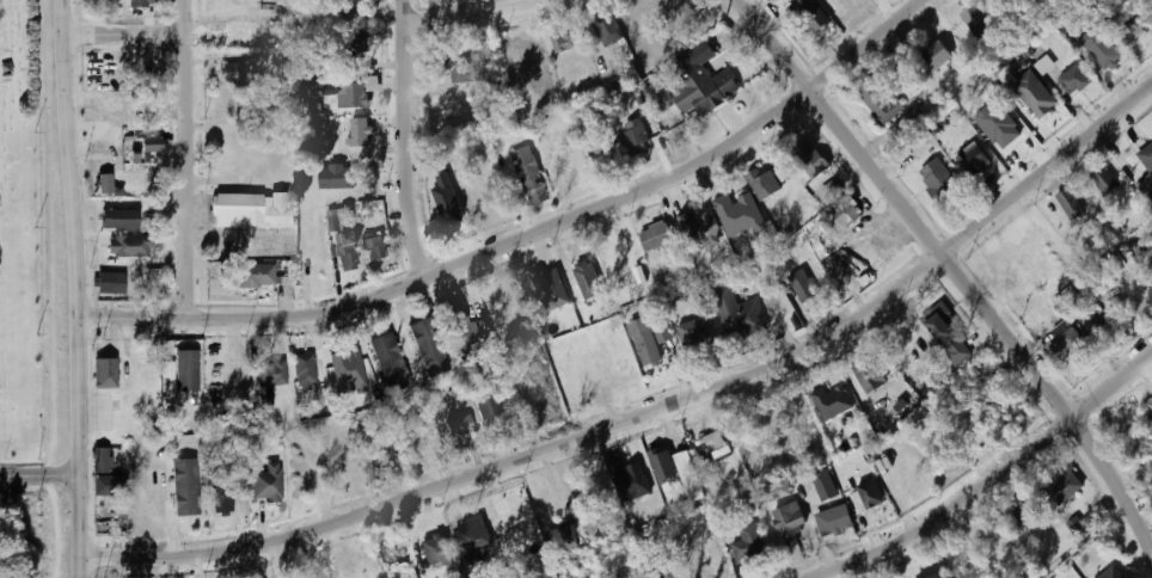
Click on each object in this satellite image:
building: (141, 4)
building: (351, 6)
building: (811, 13)
road: (478, 17)
building: (976, 23)
building: (602, 29)
building: (1127, 30)
road: (124, 35)
building: (560, 42)
road: (868, 48)
building: (1099, 49)
building: (935, 54)
building: (1044, 64)
building: (1019, 68)
building: (459, 69)
building: (232, 73)
building: (1073, 80)
building: (697, 82)
building: (1035, 94)
building: (351, 96)
building: (877, 102)
building: (914, 115)
building: (998, 124)
building: (360, 133)
building: (636, 136)
road: (408, 140)
building: (151, 144)
building: (1146, 158)
road: (185, 159)
building: (972, 159)
building: (809, 160)
building: (600, 162)
building: (283, 173)
building: (529, 174)
building: (337, 176)
building: (937, 179)
building: (1103, 180)
building: (104, 184)
building: (133, 184)
building: (764, 184)
building: (1145, 189)
building: (831, 191)
building: (1070, 204)
building: (253, 209)
building: (447, 209)
building: (736, 214)
building: (841, 215)
building: (120, 219)
building: (339, 220)
building: (699, 229)
road: (75, 234)
park: (19, 238)
building: (658, 239)
building: (131, 245)
building: (228, 250)
building: (347, 250)
building: (103, 251)
building: (375, 251)
building: (858, 256)
road: (456, 265)
building: (1150, 268)
road: (949, 271)
building: (257, 275)
building: (674, 276)
building: (587, 279)
building: (109, 283)
building: (799, 283)
building: (549, 290)
building: (739, 314)
building: (456, 324)
building: (692, 333)
building: (949, 336)
building: (644, 343)
building: (1074, 345)
building: (428, 346)
building: (388, 362)
building: (103, 368)
building: (304, 369)
building: (186, 370)
building: (868, 375)
building: (583, 377)
building: (268, 381)
building: (534, 396)
building: (485, 401)
building: (832, 402)
road: (656, 411)
building: (102, 412)
building: (459, 425)
building: (712, 447)
building: (662, 465)
building: (103, 471)
building: (339, 471)
road: (37, 472)
building: (690, 476)
building: (629, 480)
road: (997, 481)
building: (266, 482)
building: (823, 485)
building: (1064, 486)
building: (184, 487)
building: (776, 491)
building: (869, 492)
building: (221, 500)
building: (125, 508)
building: (1027, 511)
building: (789, 521)
building: (833, 521)
road: (76, 523)
building: (1077, 524)
building: (476, 530)
building: (560, 539)
building: (748, 542)
building: (435, 551)
building: (387, 557)
building: (1110, 573)
building: (939, 576)

